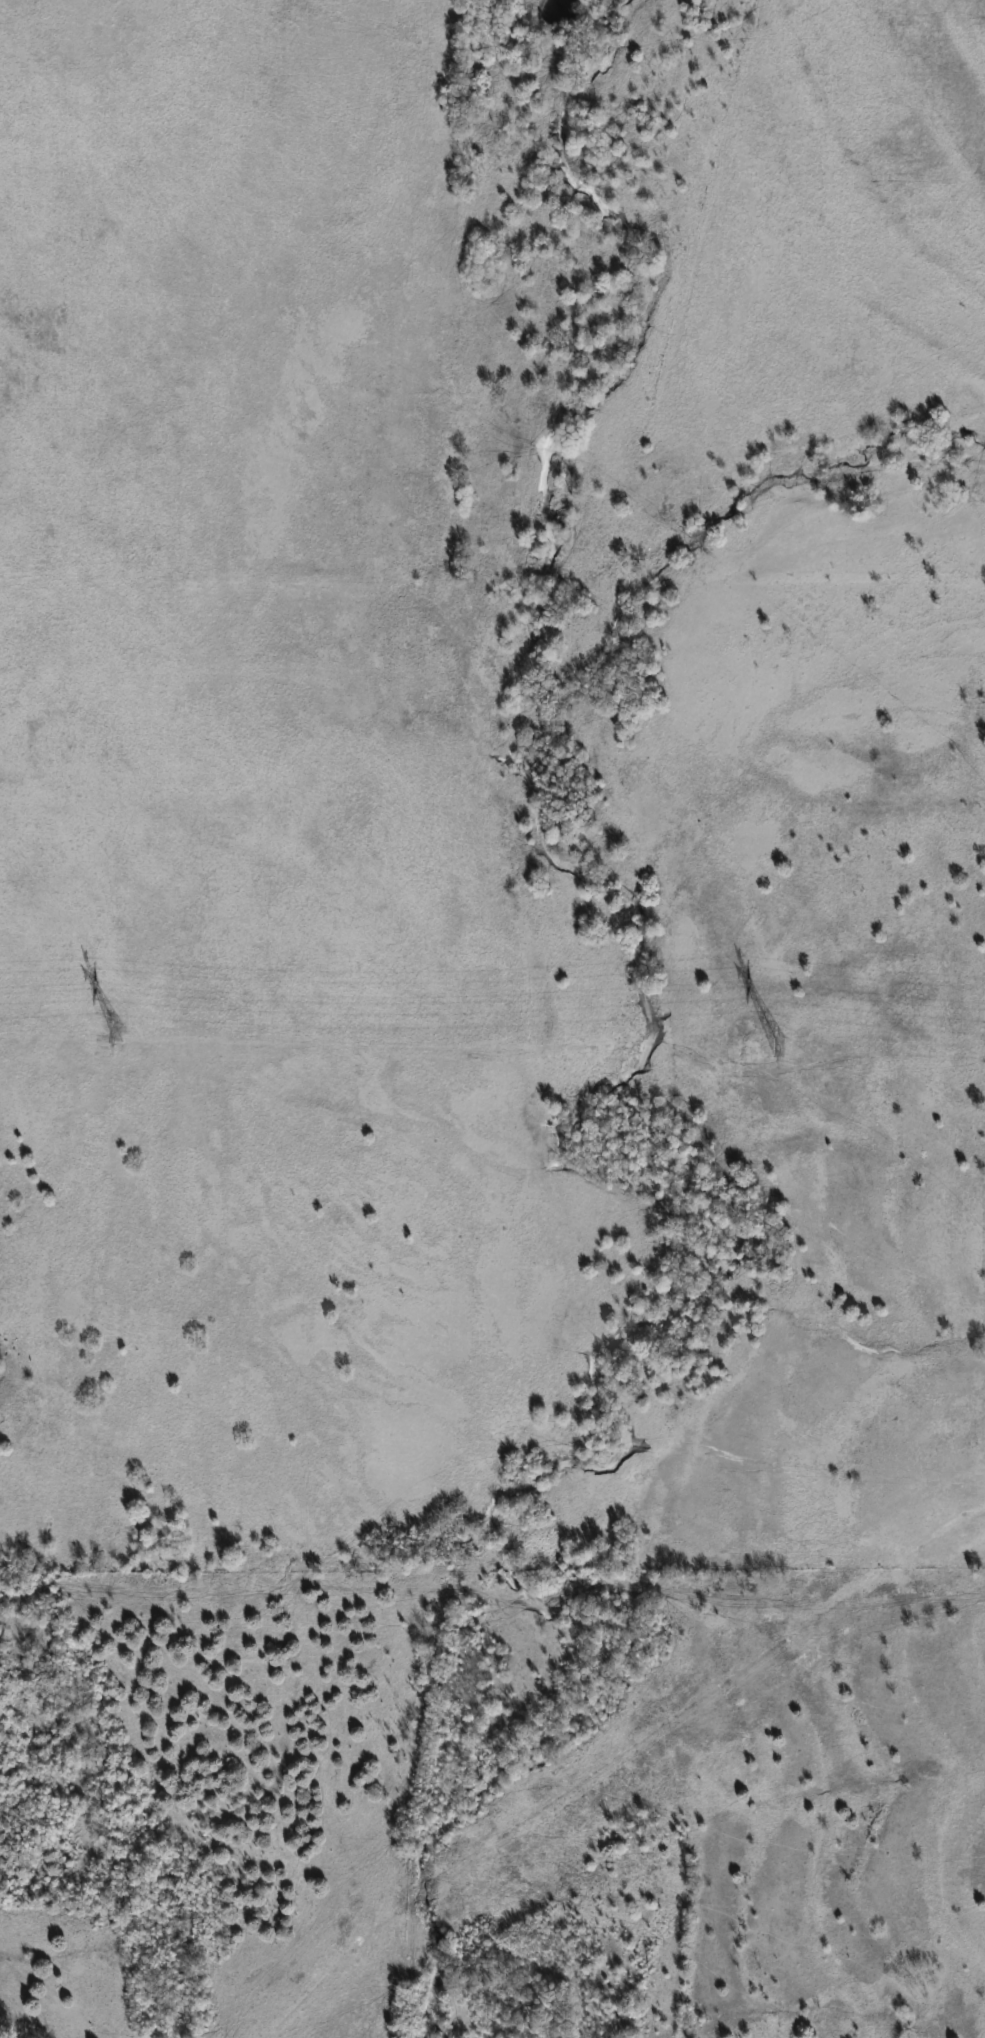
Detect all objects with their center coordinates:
power tower: (118, 1033)
power tower: (778, 1049)

